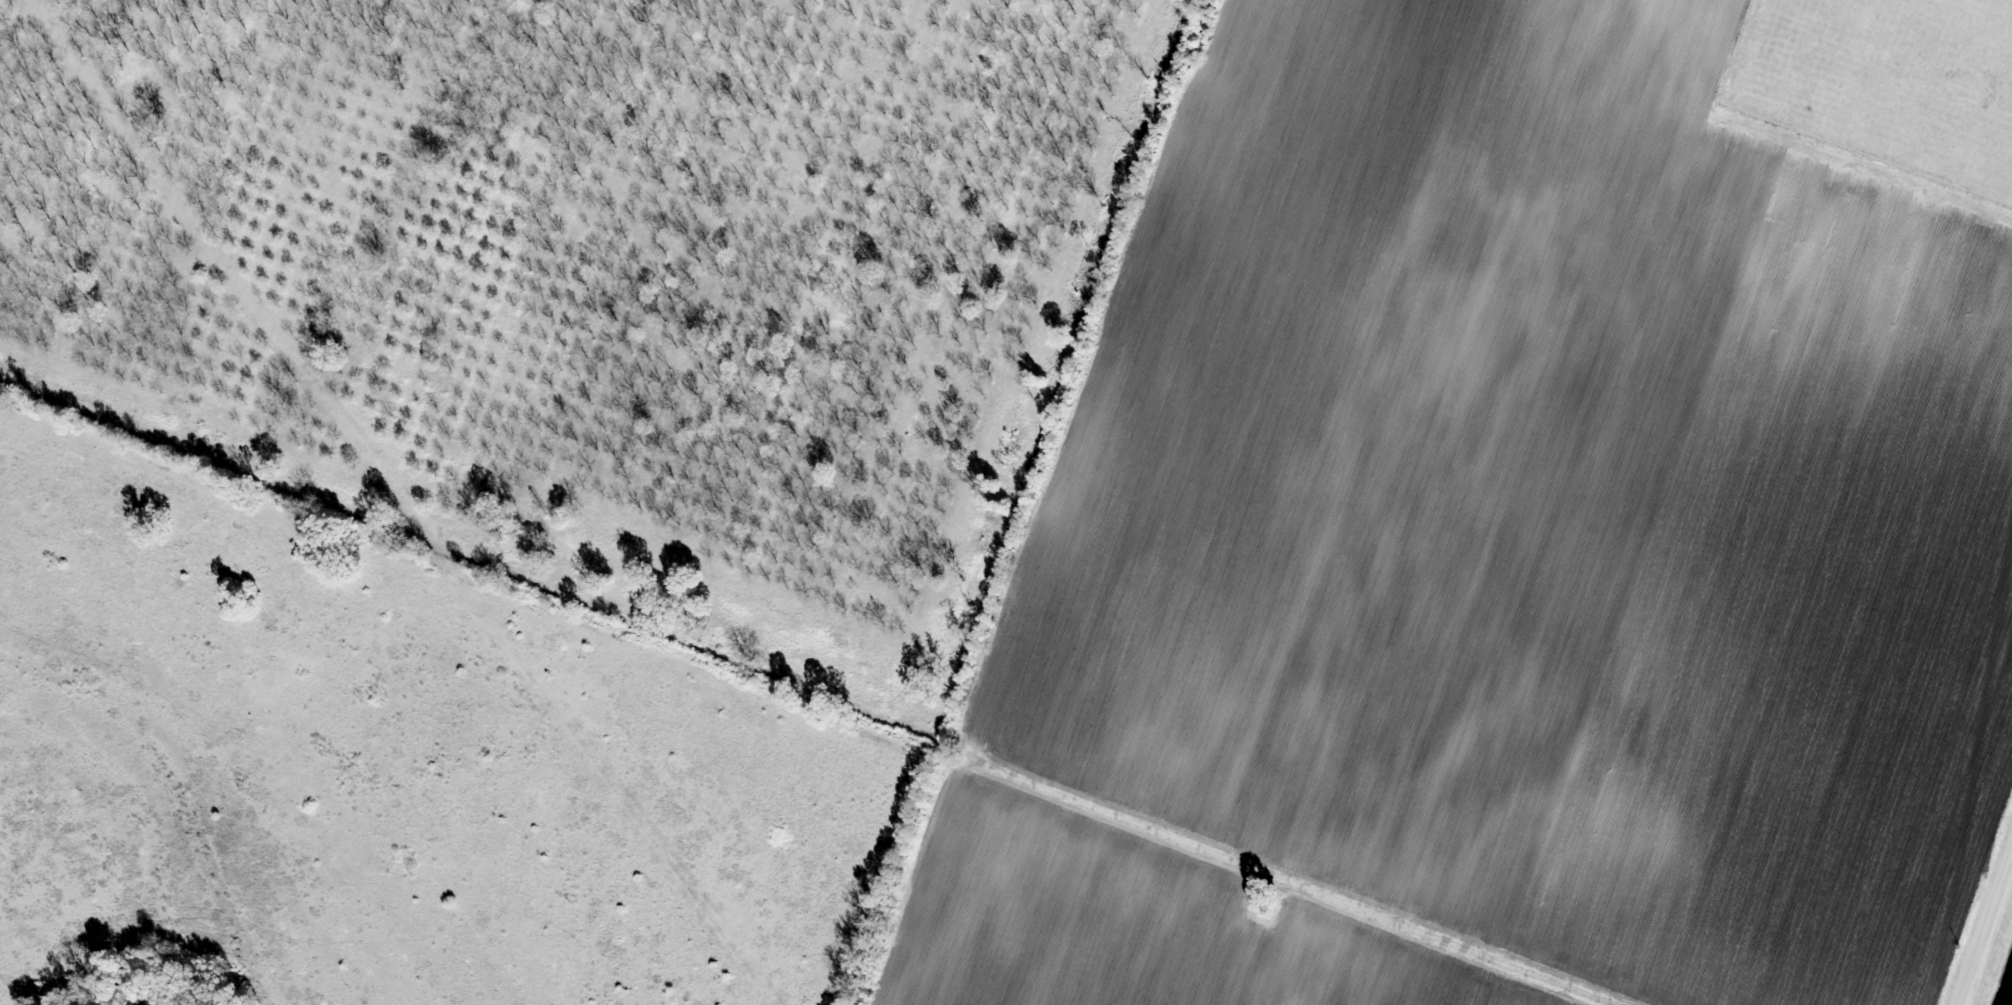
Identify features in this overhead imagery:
road: (1989, 939)

